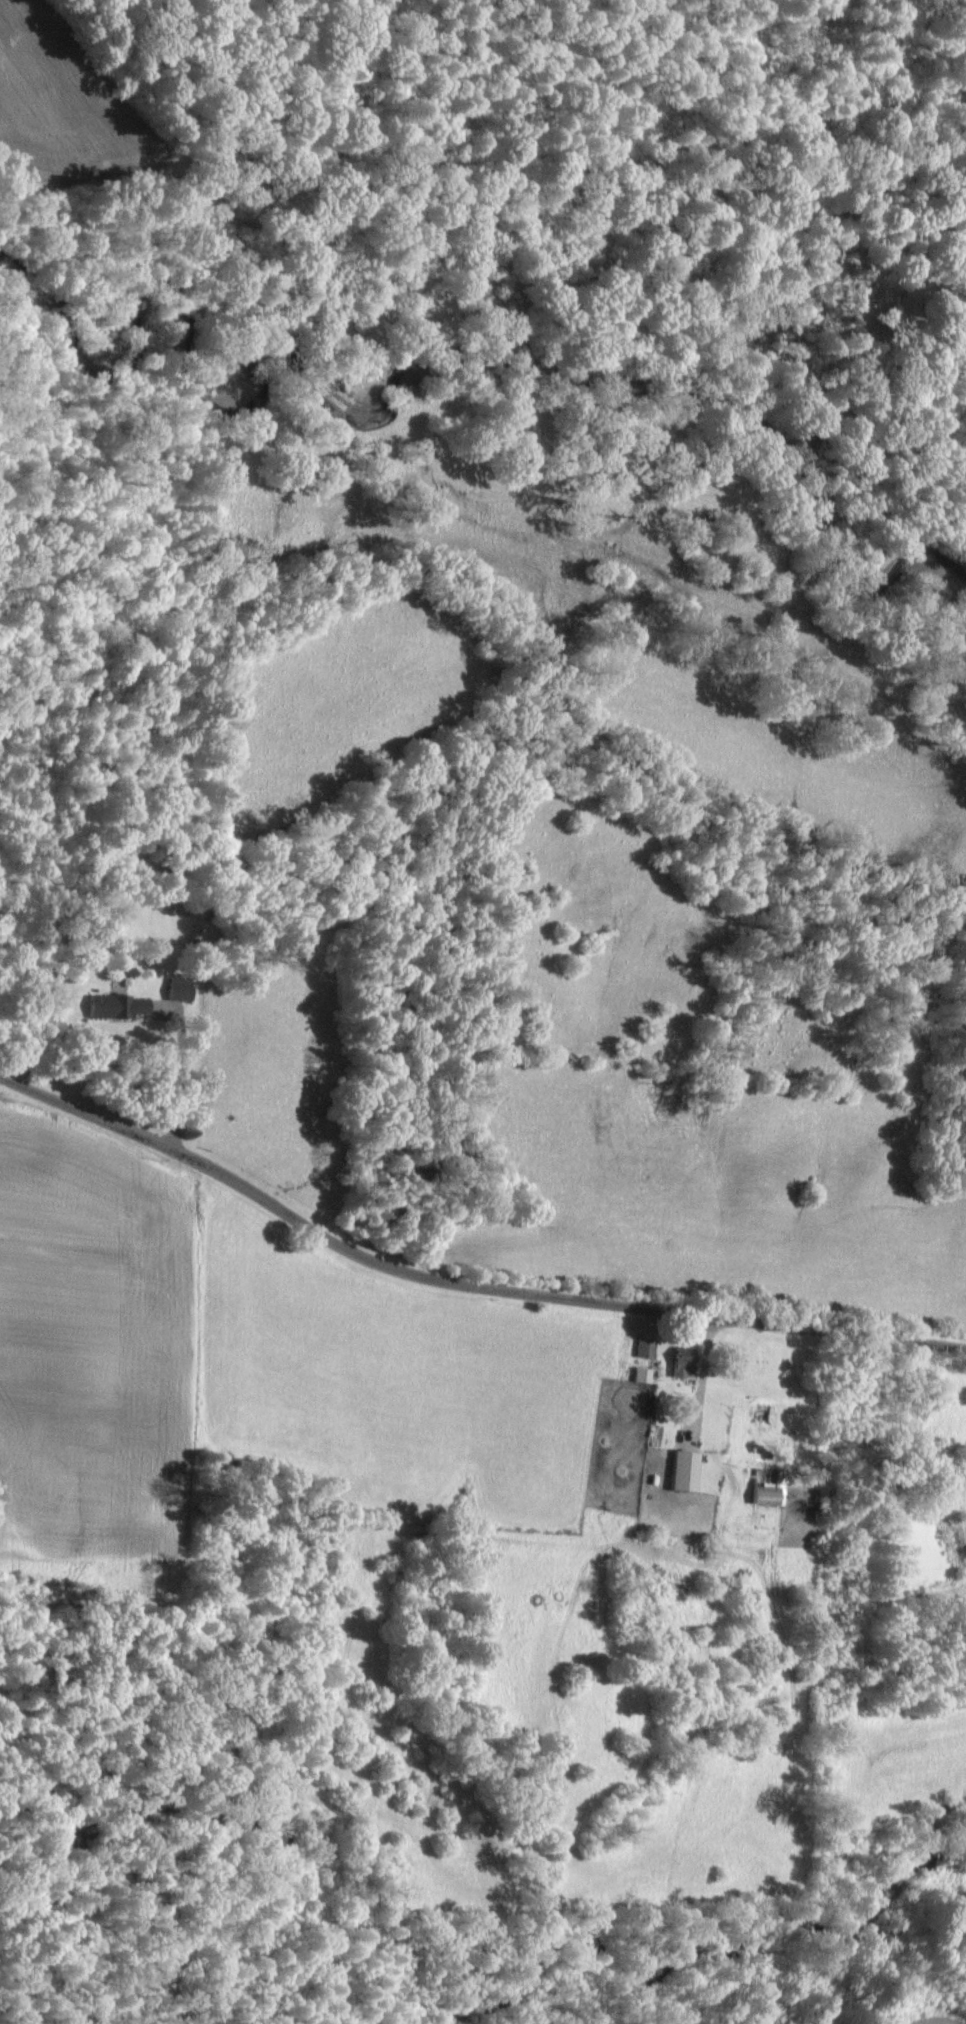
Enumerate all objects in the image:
building: (181, 988)
building: (119, 1008)
road: (461, 1284)
building: (647, 1349)
building: (685, 1367)
building: (644, 1376)
building: (686, 1472)
building: (771, 1492)

